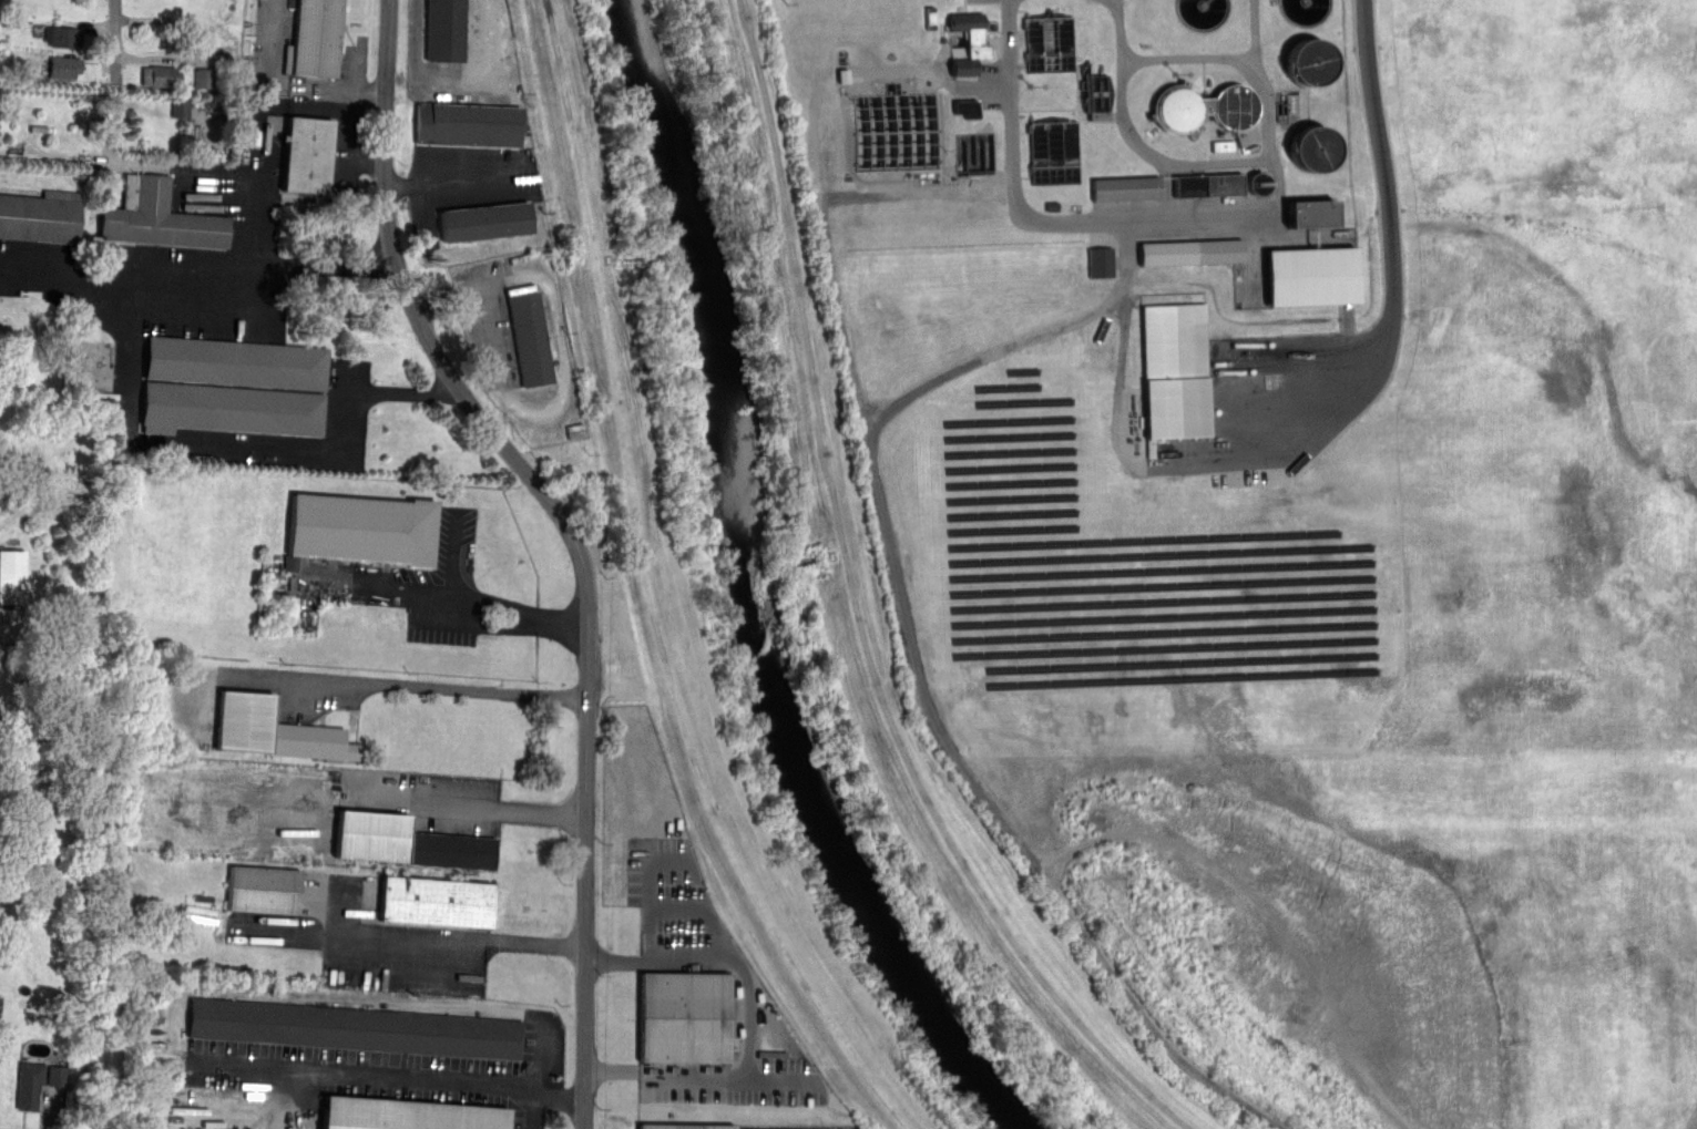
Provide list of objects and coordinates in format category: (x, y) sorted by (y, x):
building: (444, 31)
road: (485, 32)
building: (62, 37)
building: (315, 37)
building: (970, 42)
road: (1237, 59)
building: (64, 68)
building: (160, 75)
building: (204, 78)
road: (117, 82)
road: (289, 83)
building: (181, 109)
road: (262, 121)
building: (467, 124)
building: (1053, 150)
road: (812, 152)
building: (306, 153)
road: (1225, 164)
building: (1190, 185)
building: (1146, 187)
road: (917, 193)
building: (40, 217)
building: (157, 217)
building: (485, 222)
building: (1192, 252)
building: (1101, 260)
building: (1311, 277)
road: (255, 291)
parking lot: (239, 296)
building: (530, 338)
wastewater plant: (1121, 349)
road: (566, 353)
building: (235, 365)
building: (1176, 370)
road: (1325, 382)
building: (231, 409)
road: (244, 443)
road: (885, 506)
building: (359, 528)
road: (590, 530)
solar farm: (1133, 574)
building: (12, 577)
river: (748, 592)
road: (515, 610)
road: (429, 685)
road: (564, 695)
building: (274, 728)
road: (469, 803)
building: (407, 842)
road: (651, 889)
building: (264, 890)
building: (435, 902)
parking lot: (365, 924)
road: (412, 935)
parking lot: (704, 1000)
building: (684, 1017)
road: (750, 1018)
building: (355, 1028)
parking lot: (393, 1070)
building: (58, 1076)
road: (388, 1078)
building: (30, 1085)
building: (406, 1113)
parking lot: (739, 1126)
building: (683, 1127)

